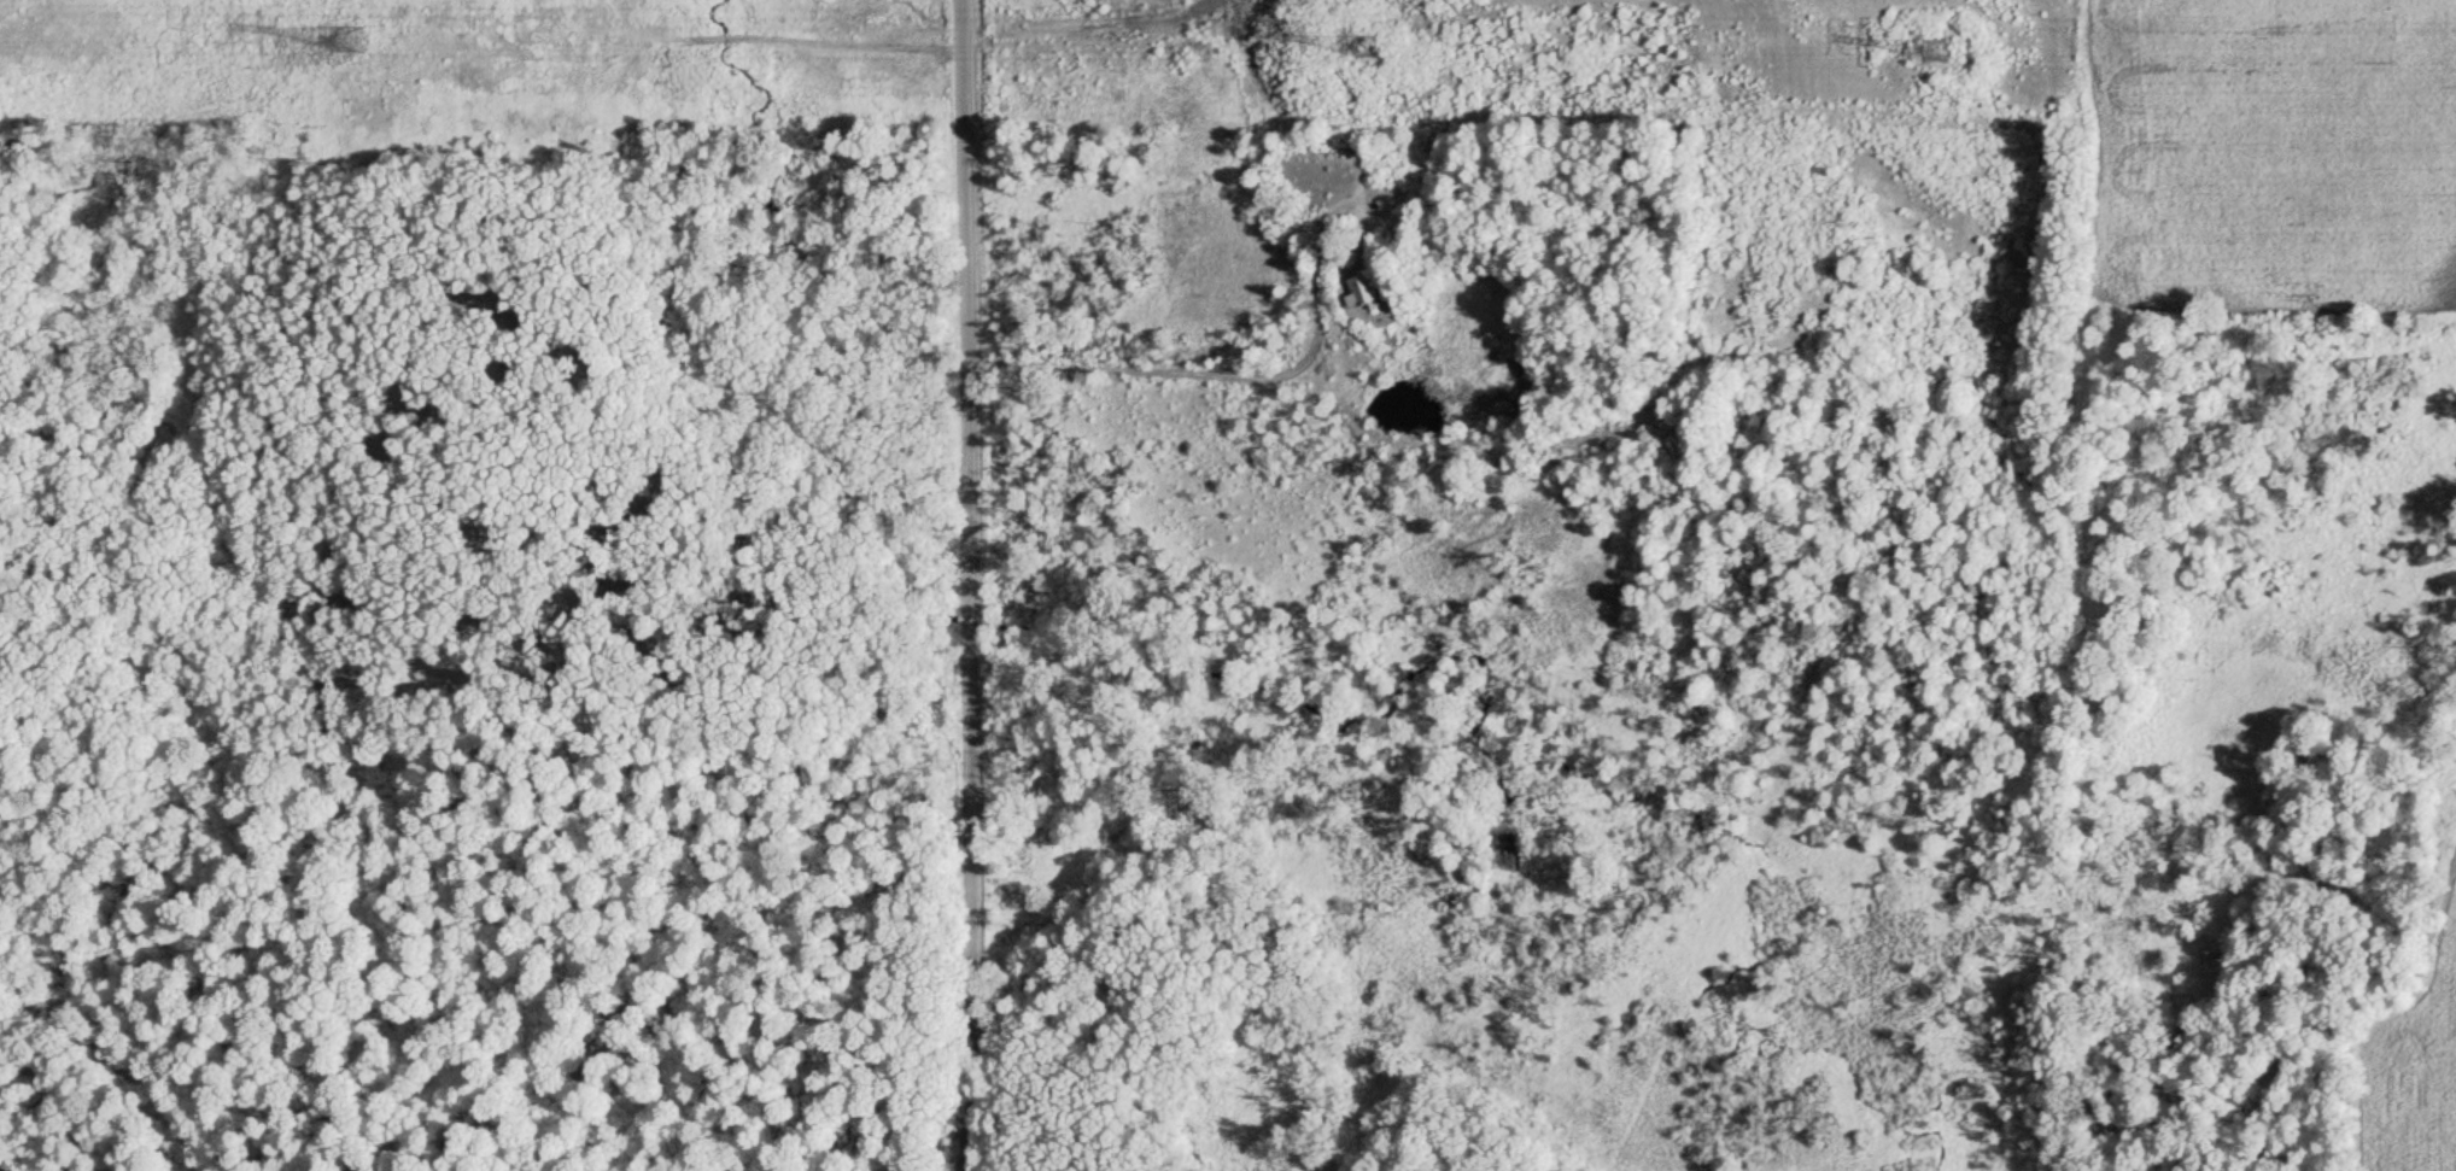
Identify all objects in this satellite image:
power tower: (351, 36)
power tower: (1361, 42)
power tower: (1930, 47)
building: (1357, 291)
road: (964, 585)

